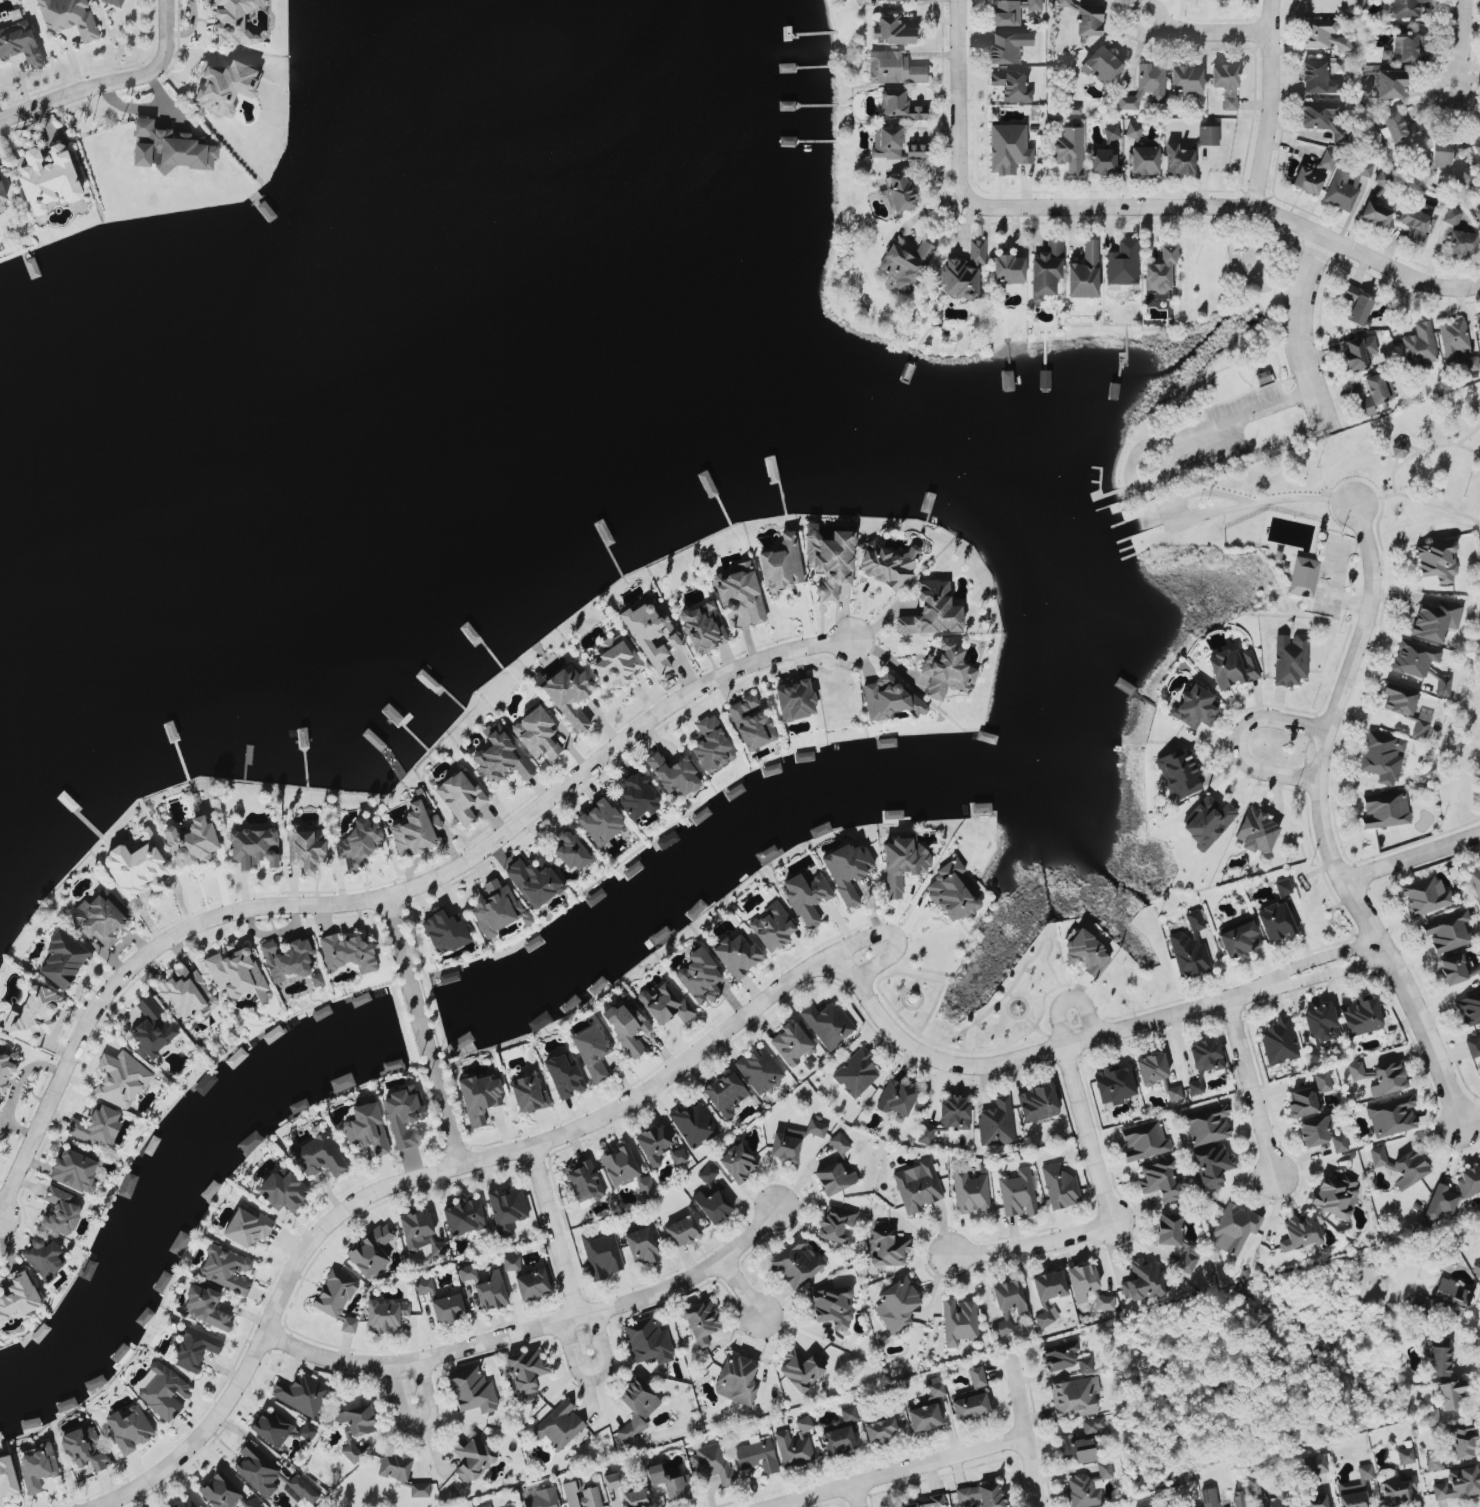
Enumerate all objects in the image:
building: (896, 0)
building: (114, 2)
building: (1062, 3)
building: (1405, 8)
building: (1012, 10)
road: (1158, 13)
building: (68, 17)
building: (1088, 19)
building: (232, 20)
building: (891, 30)
road: (1214, 32)
building: (1323, 36)
road: (1462, 40)
building: (19, 44)
building: (1008, 45)
building: (1405, 47)
building: (1100, 65)
building: (893, 68)
building: (1149, 79)
building: (1185, 79)
road: (1445, 80)
road: (110, 82)
building: (1225, 83)
building: (1390, 84)
building: (1010, 85)
building: (225, 87)
road: (957, 88)
building: (1127, 102)
building: (899, 105)
road: (1266, 105)
building: (1401, 128)
building: (1133, 130)
building: (1110, 132)
building: (1476, 146)
building: (1008, 148)
building: (1068, 148)
building: (168, 149)
building: (915, 151)
building: (1443, 155)
building: (1144, 160)
building: (1178, 160)
building: (1101, 161)
building: (1313, 173)
building: (48, 179)
building: (1341, 191)
building: (898, 192)
building: (2, 194)
road: (1217, 206)
building: (1477, 213)
building: (1375, 214)
building: (1452, 216)
building: (1415, 222)
building: (1461, 243)
building: (903, 264)
building: (1121, 264)
building: (1008, 269)
building: (1045, 270)
building: (1160, 271)
building: (964, 272)
building: (1083, 273)
building: (1356, 305)
building: (1477, 328)
road: (1297, 332)
building: (1419, 344)
building: (1456, 344)
building: (1359, 353)
building: (1376, 392)
road: (1245, 413)
road: (1468, 435)
road: (1422, 451)
road: (1416, 501)
road: (1223, 508)
building: (809, 530)
building: (830, 561)
building: (1436, 561)
building: (783, 565)
building: (890, 565)
road: (1338, 568)
building: (1303, 576)
building: (740, 591)
building: (797, 594)
road: (1350, 604)
building: (933, 611)
building: (1434, 622)
building: (704, 626)
building: (652, 636)
building: (616, 663)
building: (1419, 664)
building: (1232, 668)
building: (947, 669)
building: (571, 695)
building: (890, 699)
building: (795, 700)
building: (839, 705)
building: (1195, 707)
building: (1405, 707)
building: (752, 722)
building: (535, 731)
road: (1238, 740)
building: (713, 746)
road: (607, 749)
building: (1382, 756)
building: (501, 758)
building: (674, 774)
building: (1178, 774)
building: (635, 795)
building: (460, 798)
building: (1385, 810)
building: (599, 822)
building: (1207, 822)
building: (413, 831)
building: (1256, 832)
road: (1324, 832)
building: (667, 839)
building: (192, 842)
building: (360, 843)
road: (1406, 845)
building: (253, 847)
building: (305, 851)
building: (573, 852)
road: (1410, 857)
building: (903, 863)
building: (137, 866)
building: (847, 870)
building: (535, 883)
building: (953, 891)
building: (1424, 895)
building: (806, 898)
building: (697, 906)
building: (499, 908)
building: (103, 917)
building: (1278, 917)
building: (1194, 921)
building: (771, 927)
building: (446, 931)
building: (1446, 931)
road: (894, 936)
building: (1241, 939)
building: (1086, 952)
building: (1189, 952)
building: (349, 954)
building: (735, 957)
building: (284, 960)
building: (64, 963)
building: (1456, 969)
road: (126, 971)
building: (237, 976)
building: (700, 977)
building: (317, 979)
building: (185, 993)
road: (1068, 997)
building: (361, 998)
building: (569, 1003)
building: (666, 1006)
building: (38, 1016)
building: (1362, 1018)
building: (539, 1021)
building: (828, 1024)
building: (626, 1027)
building: (152, 1029)
building: (1319, 1029)
road: (422, 1032)
road: (1088, 1037)
building: (460, 1041)
building: (1278, 1043)
building: (791, 1044)
building: (1473, 1046)
building: (592, 1053)
building: (1206, 1054)
building: (236, 1057)
building: (6, 1069)
building: (1152, 1069)
building: (759, 1070)
building: (855, 1073)
building: (564, 1075)
building: (1379, 1077)
building: (121, 1080)
building: (205, 1082)
building: (341, 1082)
building: (1116, 1084)
building: (1196, 1085)
road: (1251, 1087)
building: (529, 1094)
building: (726, 1094)
building: (898, 1097)
building: (479, 1098)
building: (1309, 1098)
building: (0, 1102)
building: (1037, 1103)
building: (955, 1113)
building: (1393, 1115)
building: (403, 1118)
building: (996, 1122)
building: (694, 1124)
building: (1206, 1125)
building: (96, 1128)
building: (816, 1128)
building: (366, 1130)
building: (925, 1133)
building: (1322, 1135)
building: (1142, 1140)
building: (249, 1142)
building: (839, 1143)
building: (786, 1145)
building: (659, 1146)
building: (318, 1157)
building: (738, 1162)
building: (1207, 1164)
building: (618, 1165)
building: (1403, 1167)
building: (74, 1171)
building: (707, 1174)
road: (419, 1176)
building: (834, 1177)
building: (1159, 1180)
building: (584, 1182)
building: (1472, 1182)
building: (127, 1184)
building: (644, 1186)
building: (917, 1186)
building: (1059, 1186)
building: (210, 1189)
building: (282, 1191)
building: (969, 1191)
building: (1017, 1193)
building: (1335, 1196)
building: (714, 1206)
building: (61, 1209)
building: (506, 1209)
road: (1108, 1214)
building: (463, 1216)
building: (835, 1224)
building: (249, 1227)
building: (1235, 1230)
building: (682, 1231)
building: (1302, 1233)
building: (420, 1234)
building: (1176, 1238)
building: (180, 1243)
building: (640, 1245)
building: (886, 1248)
building: (371, 1250)
building: (600, 1255)
building: (44, 1259)
road: (560, 1260)
building: (796, 1261)
building: (511, 1263)
building: (90, 1266)
building: (226, 1269)
building: (466, 1272)
building: (1142, 1281)
building: (1083, 1282)
building: (531, 1284)
building: (424, 1285)
building: (1048, 1285)
road: (740, 1288)
building: (491, 1291)
building: (1009, 1296)
building: (1451, 1296)
building: (20, 1298)
building: (337, 1298)
building: (1104, 1302)
building: (896, 1305)
building: (832, 1306)
building: (447, 1307)
building: (206, 1308)
building: (1046, 1315)
building: (385, 1316)
building: (958, 1321)
building: (701, 1322)
road: (533, 1328)
building: (1001, 1328)
building: (648, 1340)
building: (194, 1348)
building: (1059, 1354)
building: (1437, 1356)
building: (1083, 1364)
building: (525, 1370)
building: (801, 1370)
building: (976, 1376)
building: (737, 1380)
building: (935, 1387)
building: (162, 1391)
building: (301, 1393)
building: (474, 1393)
road: (408, 1394)
building: (1450, 1394)
building: (1072, 1398)
building: (970, 1406)
building: (636, 1408)
building: (848, 1414)
building: (923, 1417)
building: (1092, 1425)
building: (272, 1427)
building: (560, 1427)
building: (128, 1428)
building: (355, 1429)
building: (879, 1430)
road: (1013, 1431)
building: (307, 1432)
building: (836, 1440)
building: (1463, 1443)
building: (794, 1444)
building: (85, 1448)
building: (756, 1455)
building: (1405, 1456)
building: (471, 1458)
building: (1432, 1461)
building: (1314, 1464)
building: (710, 1465)
building: (36, 1466)
building: (394, 1466)
building: (256, 1470)
road: (887, 1470)
building: (654, 1472)
building: (7, 1477)
building: (611, 1481)
building: (1457, 1484)
building: (1088, 1486)
building: (676, 1487)
building: (303, 1489)
building: (419, 1489)
building: (1355, 1489)
building: (1397, 1490)
building: (219, 1491)
building: (1279, 1493)
building: (965, 1494)
building: (580, 1495)
road: (842, 1495)
building: (990, 1495)
building: (541, 1497)
building: (1208, 1497)
building: (636, 1498)
building: (1237, 1498)
building: (923, 1502)
building: (1315, 1502)
building: (186, 1504)
building: (252, 1504)
building: (483, 1505)
building: (1144, 1505)
building: (514, 1506)

